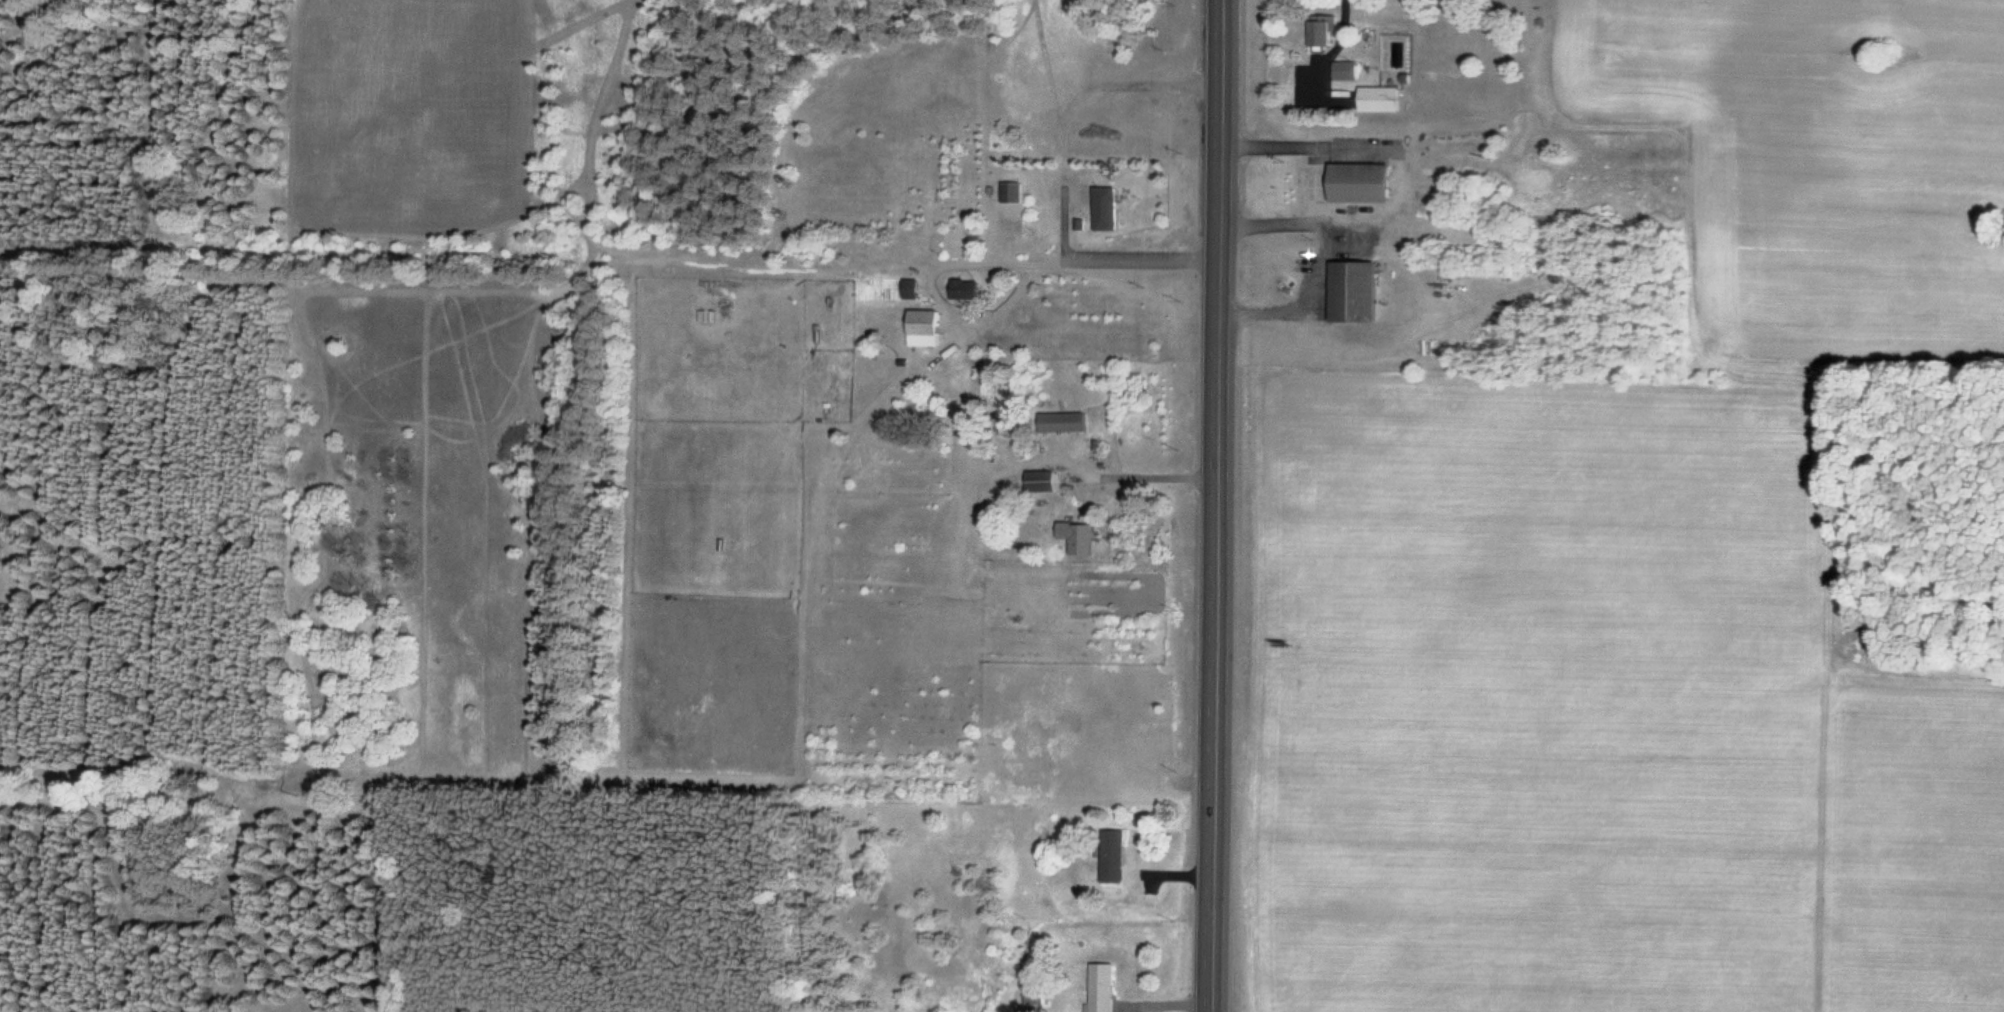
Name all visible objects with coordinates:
building: (1323, 30)
building: (1346, 70)
building: (1378, 98)
building: (1356, 183)
building: (1010, 192)
building: (1102, 208)
building: (962, 290)
building: (1351, 291)
building: (921, 323)
building: (1060, 423)
building: (1006, 427)
building: (1039, 482)
road: (1214, 506)
building: (1075, 540)
building: (1110, 857)
building: (1100, 988)

